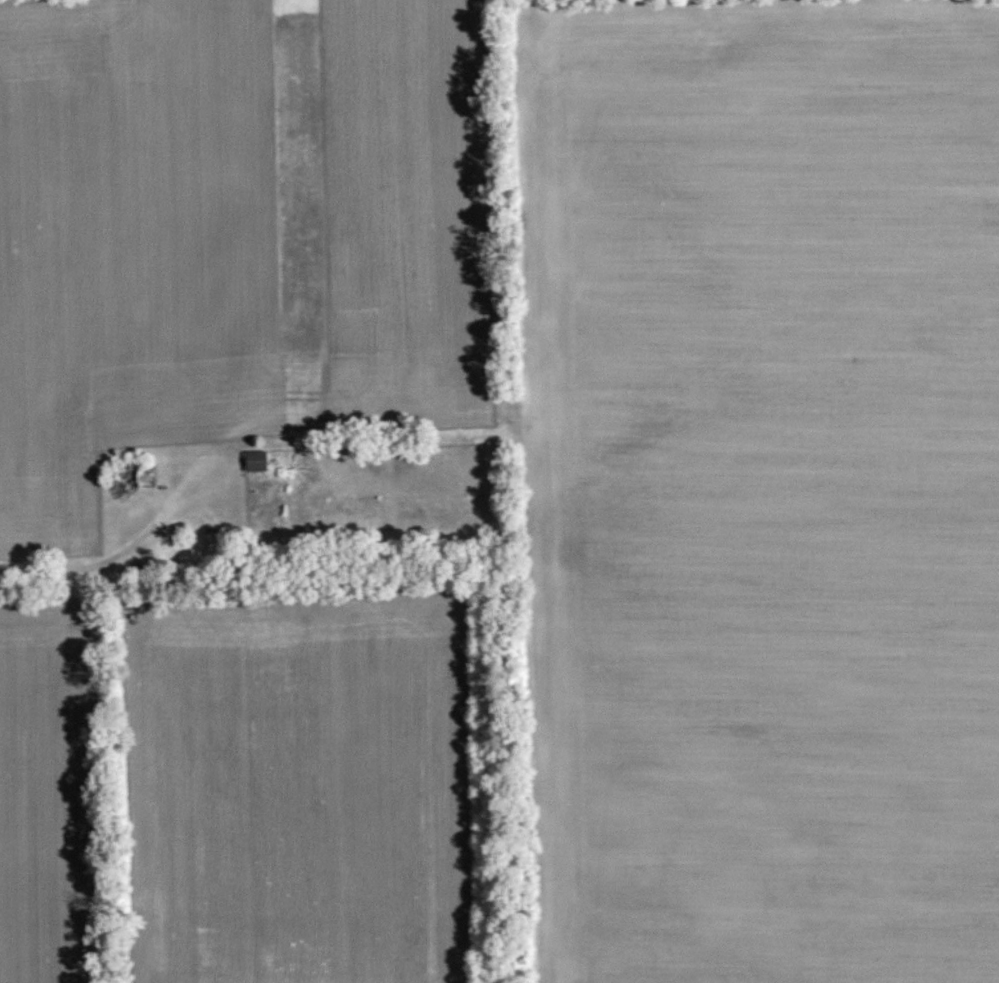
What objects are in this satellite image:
building: (256, 461)
road: (204, 492)
road: (40, 570)

